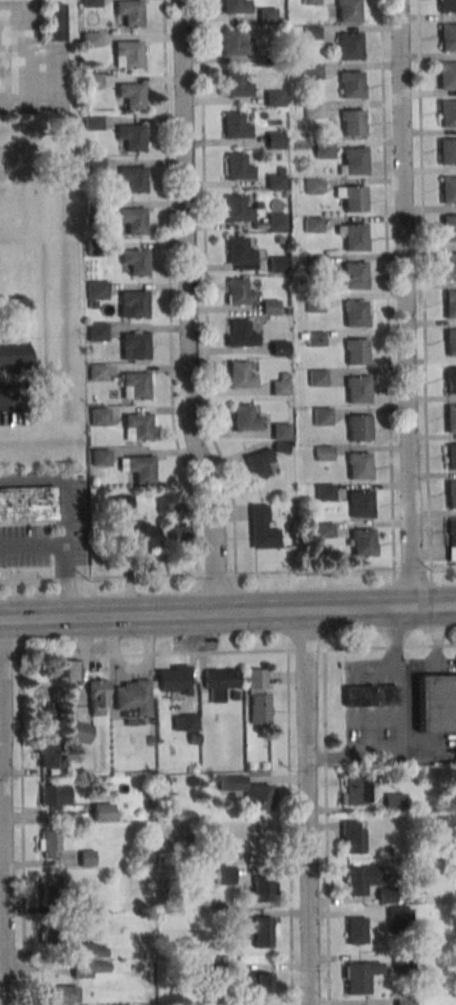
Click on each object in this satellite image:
building: (310, 1)
building: (89, 3)
building: (235, 6)
building: (446, 6)
building: (347, 10)
building: (129, 12)
building: (266, 15)
building: (55, 21)
building: (311, 32)
building: (447, 37)
building: (91, 39)
building: (232, 43)
building: (348, 47)
building: (126, 54)
building: (273, 59)
parking lot: (30, 61)
building: (311, 73)
building: (446, 75)
building: (91, 81)
building: (351, 84)
building: (235, 85)
building: (130, 94)
building: (272, 98)
building: (312, 110)
building: (446, 114)
building: (92, 122)
building: (351, 123)
building: (234, 126)
building: (130, 136)
building: (273, 141)
building: (323, 150)
building: (447, 152)
building: (353, 161)
building: (94, 165)
building: (237, 168)
building: (278, 170)
building: (132, 178)
building: (274, 181)
building: (312, 186)
building: (447, 190)
building: (281, 195)
building: (353, 199)
building: (93, 206)
building: (236, 210)
building: (131, 219)
building: (274, 224)
building: (311, 225)
building: (448, 228)
building: (353, 237)
building: (278, 240)
building: (94, 248)
building: (238, 251)
building: (133, 260)
building: (314, 264)
building: (276, 265)
building: (449, 266)
building: (352, 275)
road: (385, 284)
road: (422, 284)
road: (204, 288)
building: (96, 289)
building: (238, 293)
building: (313, 303)
building: (132, 304)
road: (404, 304)
building: (449, 304)
building: (268, 307)
road: (168, 308)
road: (187, 308)
building: (353, 314)
building: (96, 332)
building: (239, 335)
building: (313, 339)
building: (450, 343)
building: (135, 345)
building: (277, 348)
building: (354, 352)
building: (13, 355)
building: (97, 372)
building: (239, 376)
building: (282, 376)
building: (316, 378)
building: (449, 382)
building: (134, 385)
building: (278, 388)
building: (356, 390)
parking lot: (14, 402)
road: (5, 408)
building: (321, 415)
building: (98, 416)
building: (244, 419)
building: (450, 419)
building: (135, 426)
building: (357, 428)
building: (280, 431)
building: (279, 449)
building: (322, 454)
building: (99, 457)
building: (450, 457)
building: (258, 462)
building: (358, 466)
building: (135, 469)
building: (323, 492)
building: (450, 495)
building: (120, 504)
building: (358, 504)
building: (27, 505)
road: (64, 512)
building: (260, 528)
building: (322, 530)
building: (450, 532)
building: (143, 535)
building: (178, 535)
building: (360, 543)
road: (442, 567)
road: (409, 569)
road: (312, 571)
road: (97, 577)
road: (60, 584)
road: (227, 613)
building: (70, 671)
building: (172, 679)
building: (219, 683)
building: (369, 695)
building: (97, 696)
building: (258, 696)
building: (132, 699)
building: (435, 703)
building: (184, 723)
road: (399, 724)
building: (78, 732)
building: (48, 754)
building: (352, 789)
building: (246, 791)
building: (53, 796)
building: (396, 802)
road: (306, 807)
building: (101, 813)
building: (354, 840)
building: (47, 844)
building: (86, 858)
building: (224, 875)
road: (2, 882)
building: (354, 882)
building: (49, 886)
building: (261, 892)
building: (387, 896)
building: (399, 917)
building: (355, 931)
building: (261, 933)
building: (58, 937)
building: (92, 950)
building: (88, 968)
building: (359, 978)
building: (263, 984)
building: (62, 995)
building: (404, 1000)

